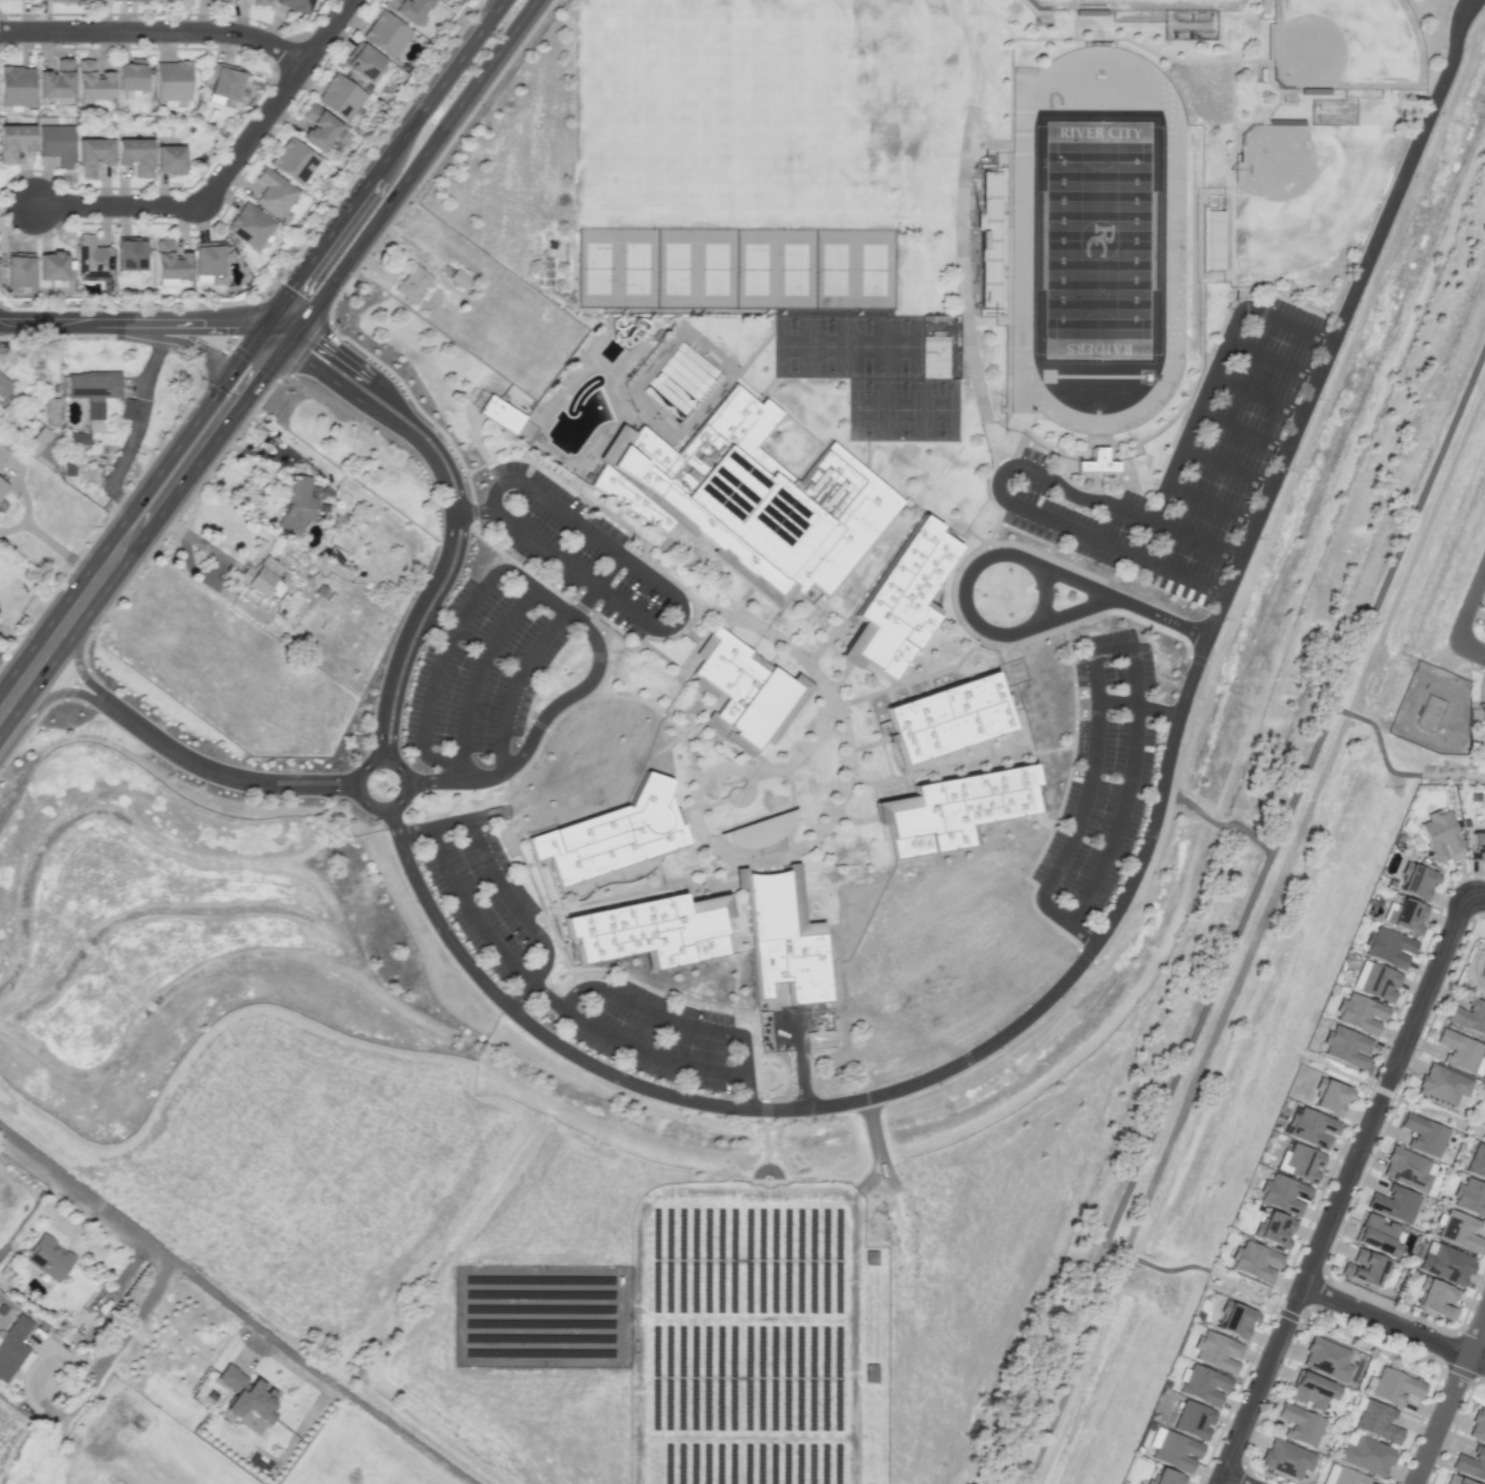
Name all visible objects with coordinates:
building: (55, 0)
building: (132, 0)
building: (85, 1)
building: (221, 1)
building: (260, 1)
park: (1130, 3)
building: (297, 5)
building: (411, 9)
street lamp: (35, 16)
street lamp: (262, 24)
road: (155, 29)
building: (387, 33)
park: (1346, 44)
street lamp: (151, 45)
street lamp: (326, 57)
building: (365, 61)
building: (131, 75)
building: (172, 79)
building: (56, 80)
building: (92, 81)
building: (227, 83)
building: (16, 85)
building: (340, 96)
park: (897, 108)
street lamp: (240, 124)
building: (319, 127)
building: (14, 141)
building: (57, 143)
building: (92, 154)
building: (135, 154)
building: (169, 159)
building: (294, 160)
road: (379, 164)
road: (429, 167)
road: (411, 168)
road: (226, 169)
street lamp: (79, 190)
park: (1306, 191)
building: (274, 192)
park: (2, 202)
building: (250, 225)
street lamp: (193, 226)
park: (1098, 239)
track: (1174, 239)
building: (130, 255)
building: (92, 258)
building: (208, 258)
building: (171, 262)
building: (52, 266)
park: (597, 267)
park: (636, 267)
park: (676, 267)
park: (715, 268)
park: (755, 268)
park: (795, 268)
park: (834, 268)
park: (873, 268)
building: (18, 269)
building: (458, 277)
building: (412, 283)
street lamp: (92, 307)
road: (129, 324)
traffic signals: (259, 328)
road: (274, 333)
traffic signals: (289, 338)
park: (792, 345)
park: (829, 345)
park: (867, 345)
park: (903, 345)
road: (1271, 360)
road: (1215, 369)
building: (4, 386)
building: (93, 389)
road: (1256, 395)
park: (866, 407)
park: (903, 408)
park: (940, 408)
building: (127, 409)
building: (51, 411)
road: (383, 414)
building: (499, 414)
road: (140, 423)
road: (1241, 431)
building: (78, 438)
building: (687, 443)
building: (43, 447)
parking lot: (1233, 451)
building: (2, 454)
building: (1096, 463)
road: (1226, 466)
building: (1, 486)
road: (1211, 502)
building: (297, 505)
road: (1027, 507)
road: (473, 508)
building: (791, 508)
road: (130, 509)
road: (464, 513)
building: (630, 515)
road: (170, 523)
road: (29, 526)
road: (144, 536)
road: (1143, 538)
road: (198, 539)
road: (1195, 539)
parking lot: (581, 550)
building: (334, 553)
road: (608, 569)
building: (259, 575)
road: (1047, 592)
road: (966, 596)
building: (905, 600)
road: (1122, 600)
road: (586, 601)
road: (679, 601)
road: (1073, 606)
road: (1470, 606)
street lamp: (1473, 623)
building: (1484, 627)
road: (407, 631)
road: (439, 631)
road: (456, 631)
road: (1470, 648)
road: (1198, 659)
street lamp: (1477, 667)
road: (1096, 669)
road: (5, 670)
parking lot: (480, 673)
road: (84, 675)
road: (475, 677)
road: (515, 683)
building: (745, 684)
road: (58, 693)
building: (1480, 711)
building: (954, 717)
building: (1428, 717)
road: (34, 723)
road: (534, 733)
road: (390, 762)
park: (1453, 767)
road: (1391, 769)
parking lot: (1102, 772)
road: (229, 775)
road: (1294, 795)
building: (960, 812)
road: (469, 817)
road: (1075, 820)
road: (1215, 823)
road: (413, 830)
building: (614, 832)
road: (1113, 834)
building: (1440, 835)
building: (1477, 846)
road: (807, 847)
building: (1416, 881)
street lamp: (1448, 887)
road: (1254, 888)
road: (1125, 891)
parking lot: (483, 898)
road: (1473, 898)
road: (509, 904)
road: (471, 911)
building: (1405, 916)
building: (644, 928)
building: (784, 937)
building: (1388, 947)
building: (1482, 968)
building: (1375, 981)
road: (518, 993)
building: (1360, 1013)
road: (666, 1015)
building: (1468, 1016)
parking lot: (657, 1034)
road: (631, 1046)
road: (799, 1046)
building: (1346, 1046)
building: (1458, 1050)
park: (1336, 1069)
road: (1336, 1069)
building: (1443, 1084)
street lamp: (1368, 1088)
road: (747, 1090)
road: (1383, 1090)
building: (1330, 1096)
road: (1440, 1111)
park: (1440, 1114)
building: (1311, 1127)
building: (1423, 1134)
road: (877, 1146)
building: (1476, 1161)
building: (1300, 1162)
building: (1408, 1169)
road: (869, 1179)
road: (1340, 1193)
building: (1283, 1194)
building: (1470, 1197)
building: (1393, 1203)
building: (1274, 1229)
building: (1460, 1231)
building: (1377, 1235)
building: (49, 1258)
building: (1255, 1261)
building: (1446, 1263)
building: (1363, 1267)
park: (1244, 1289)
street lamp: (1283, 1290)
building: (1435, 1298)
road: (234, 1307)
building: (1236, 1319)
road: (1393, 1322)
street lamp: (1378, 1334)
park: (1373, 1343)
building: (12, 1345)
road: (113, 1347)
building: (1217, 1351)
building: (1327, 1357)
road: (1054, 1364)
road: (1058, 1364)
building: (1204, 1385)
building: (1393, 1385)
building: (1312, 1389)
park: (1476, 1389)
building: (246, 1394)
road: (1448, 1398)
building: (1193, 1420)
building: (1378, 1420)
building: (1300, 1423)
building: (1477, 1426)
building: (1174, 1450)
building: (1368, 1454)
building: (1287, 1457)
building: (1470, 1464)
building: (1343, 1475)
building: (1166, 1477)
road: (1232, 1479)
building: (1456, 1480)
street lamp: (1202, 1481)

